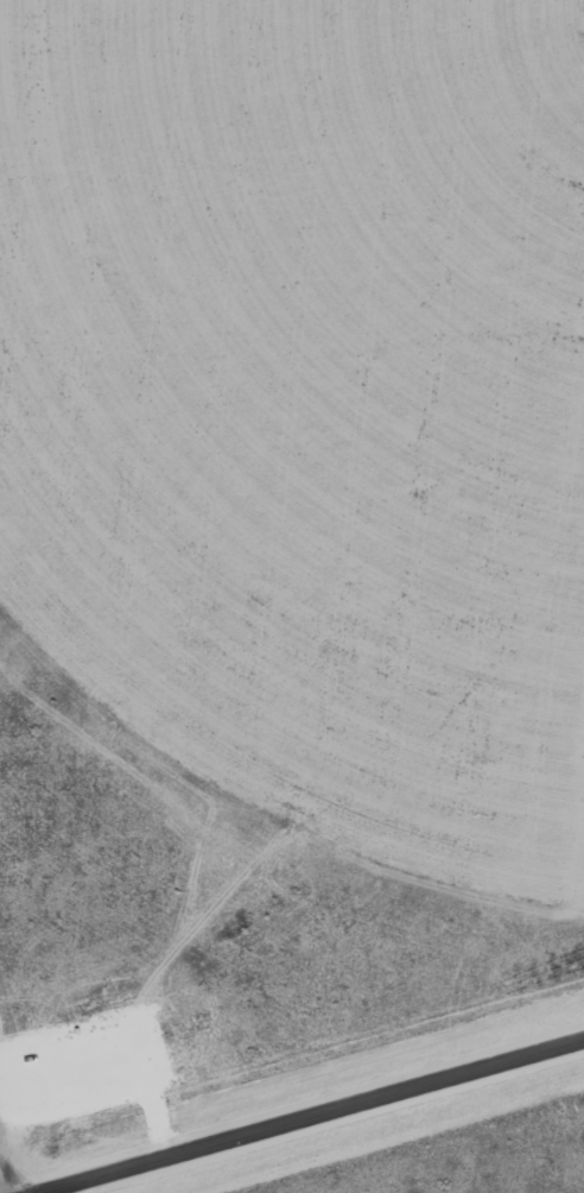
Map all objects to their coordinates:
road: (325, 1119)
road: (6, 1168)

